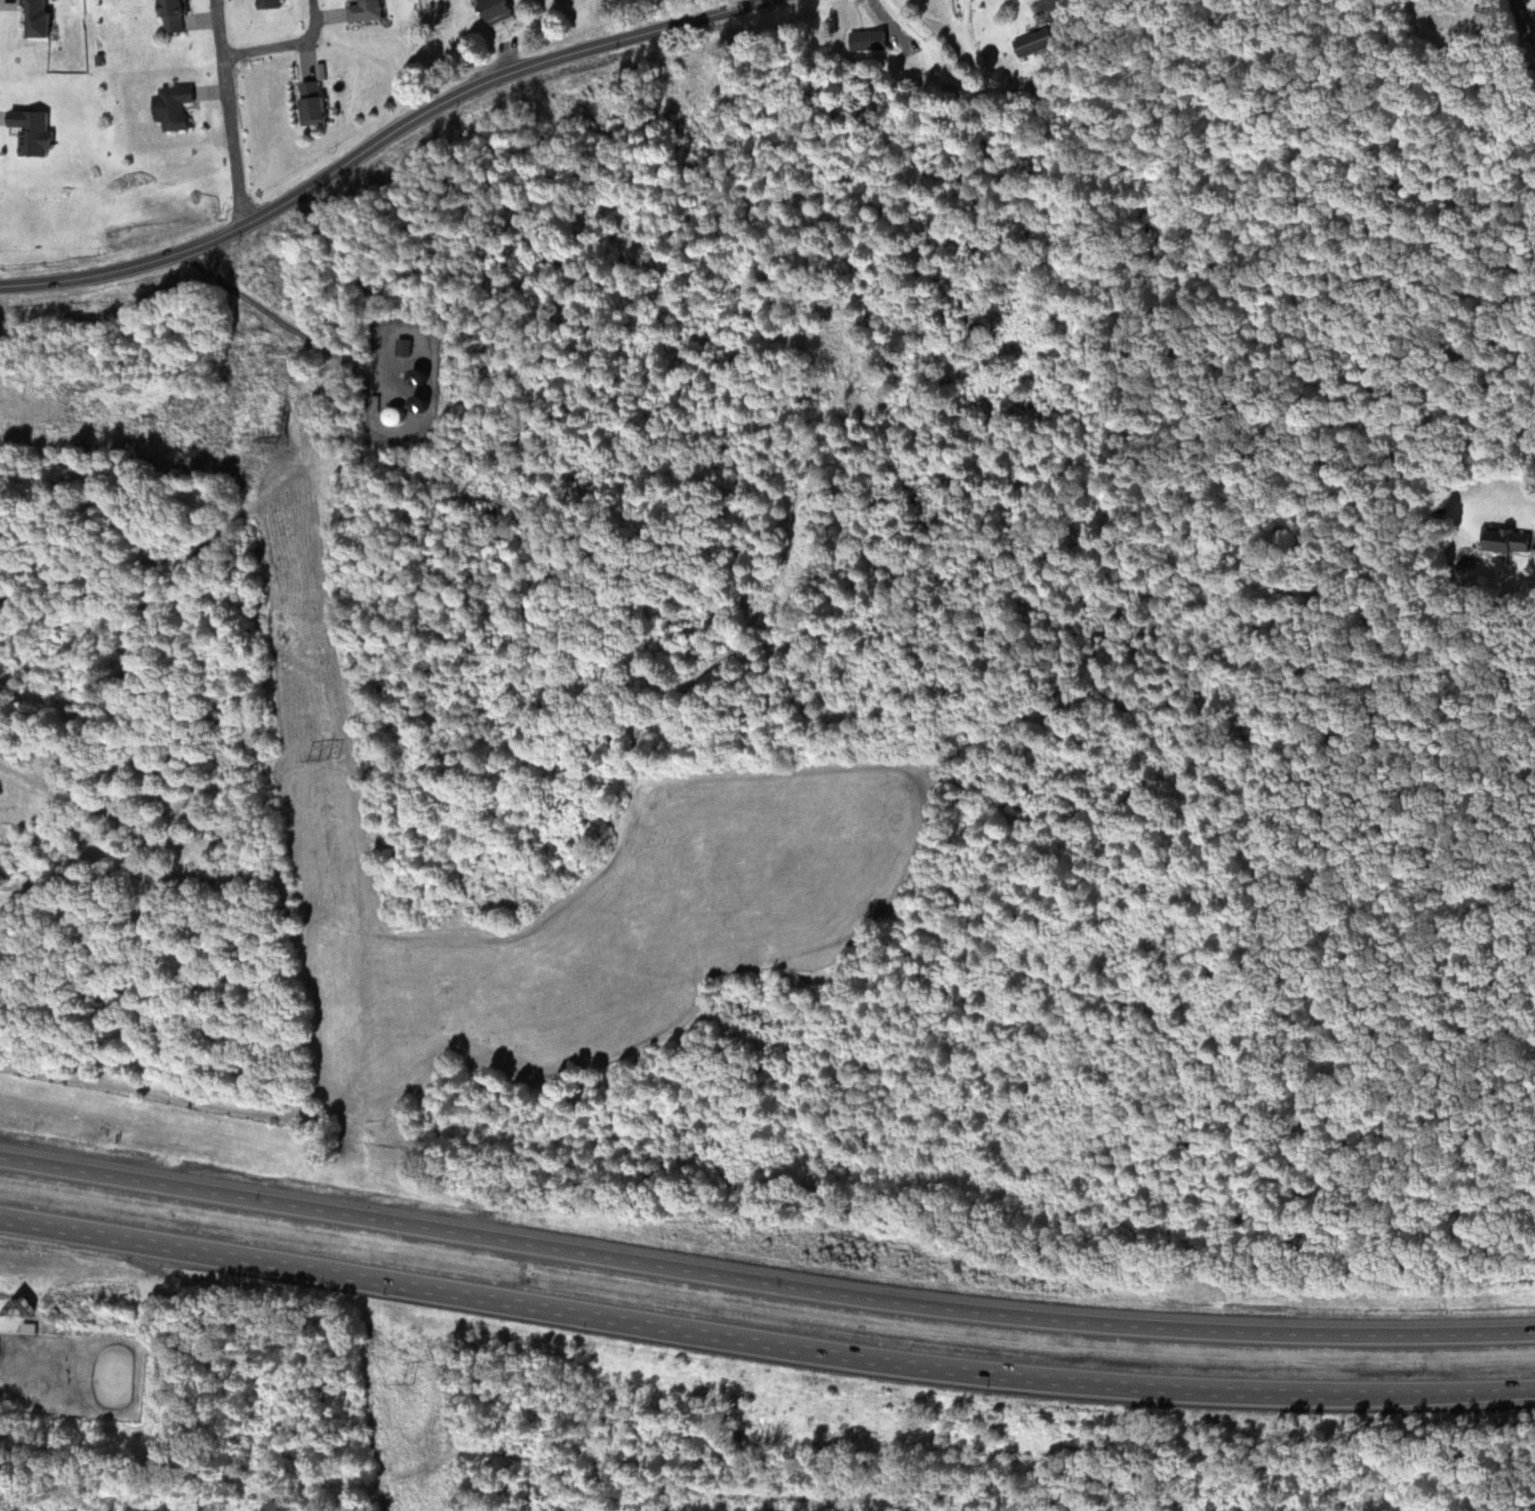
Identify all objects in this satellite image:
building: (269, 3)
building: (364, 9)
building: (498, 10)
building: (175, 14)
building: (39, 17)
building: (867, 39)
building: (1033, 41)
road: (281, 45)
building: (313, 102)
building: (174, 106)
road: (225, 113)
building: (34, 131)
road: (376, 143)
building: (403, 346)
building: (404, 381)
building: (395, 416)
power tower: (284, 446)
building: (1511, 540)
road: (763, 1290)
road: (763, 1351)

